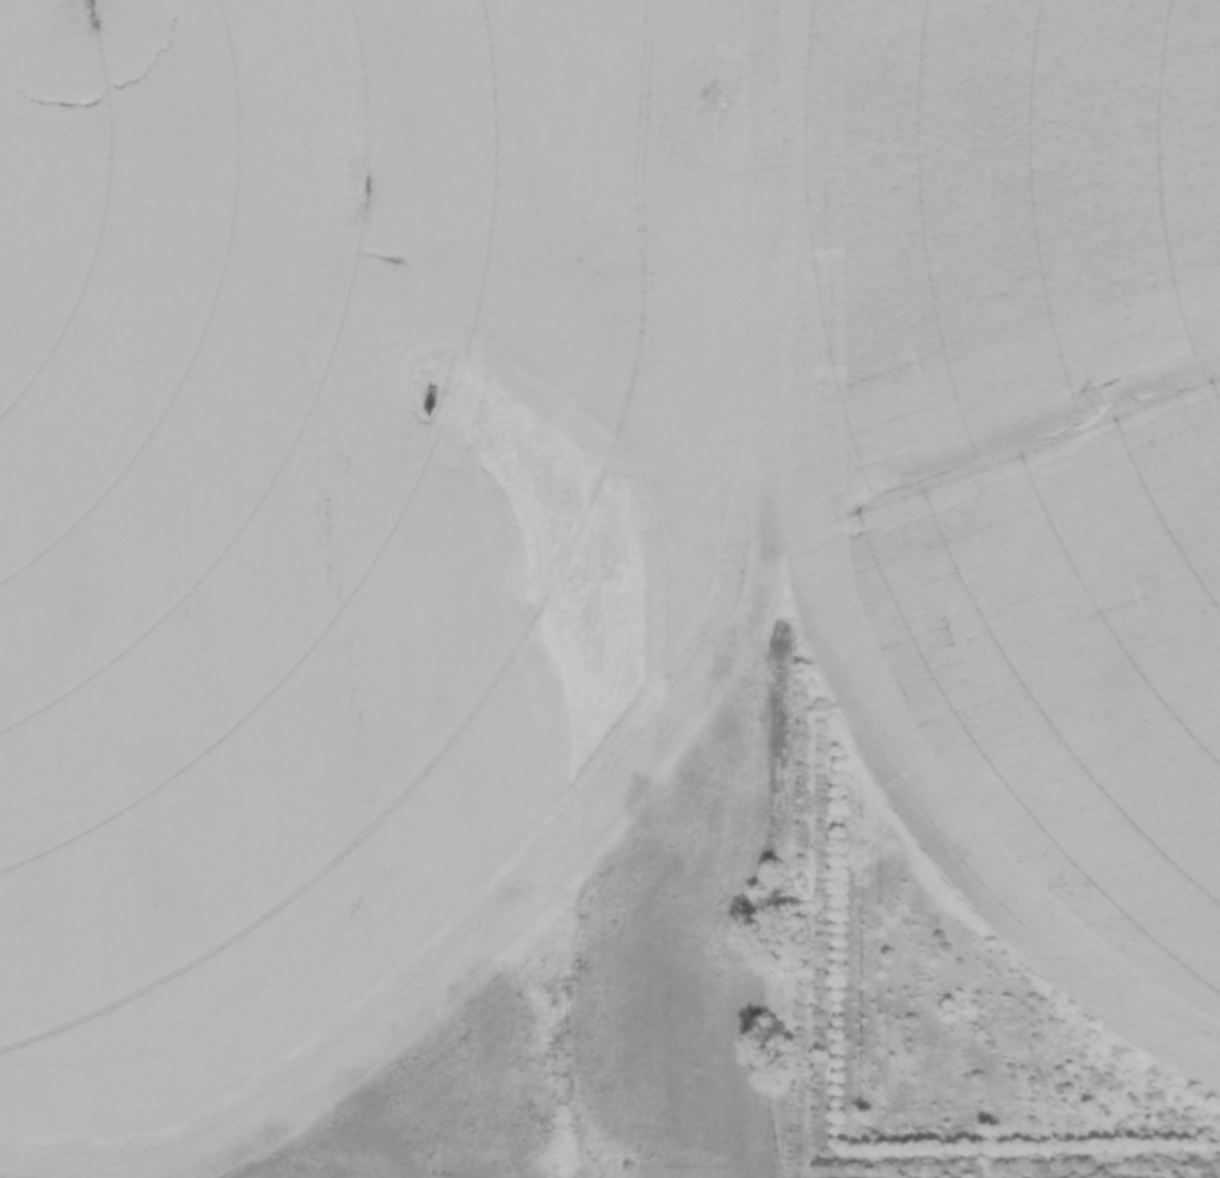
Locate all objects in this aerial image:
power tower: (722, 107)
power tower: (1099, 408)

